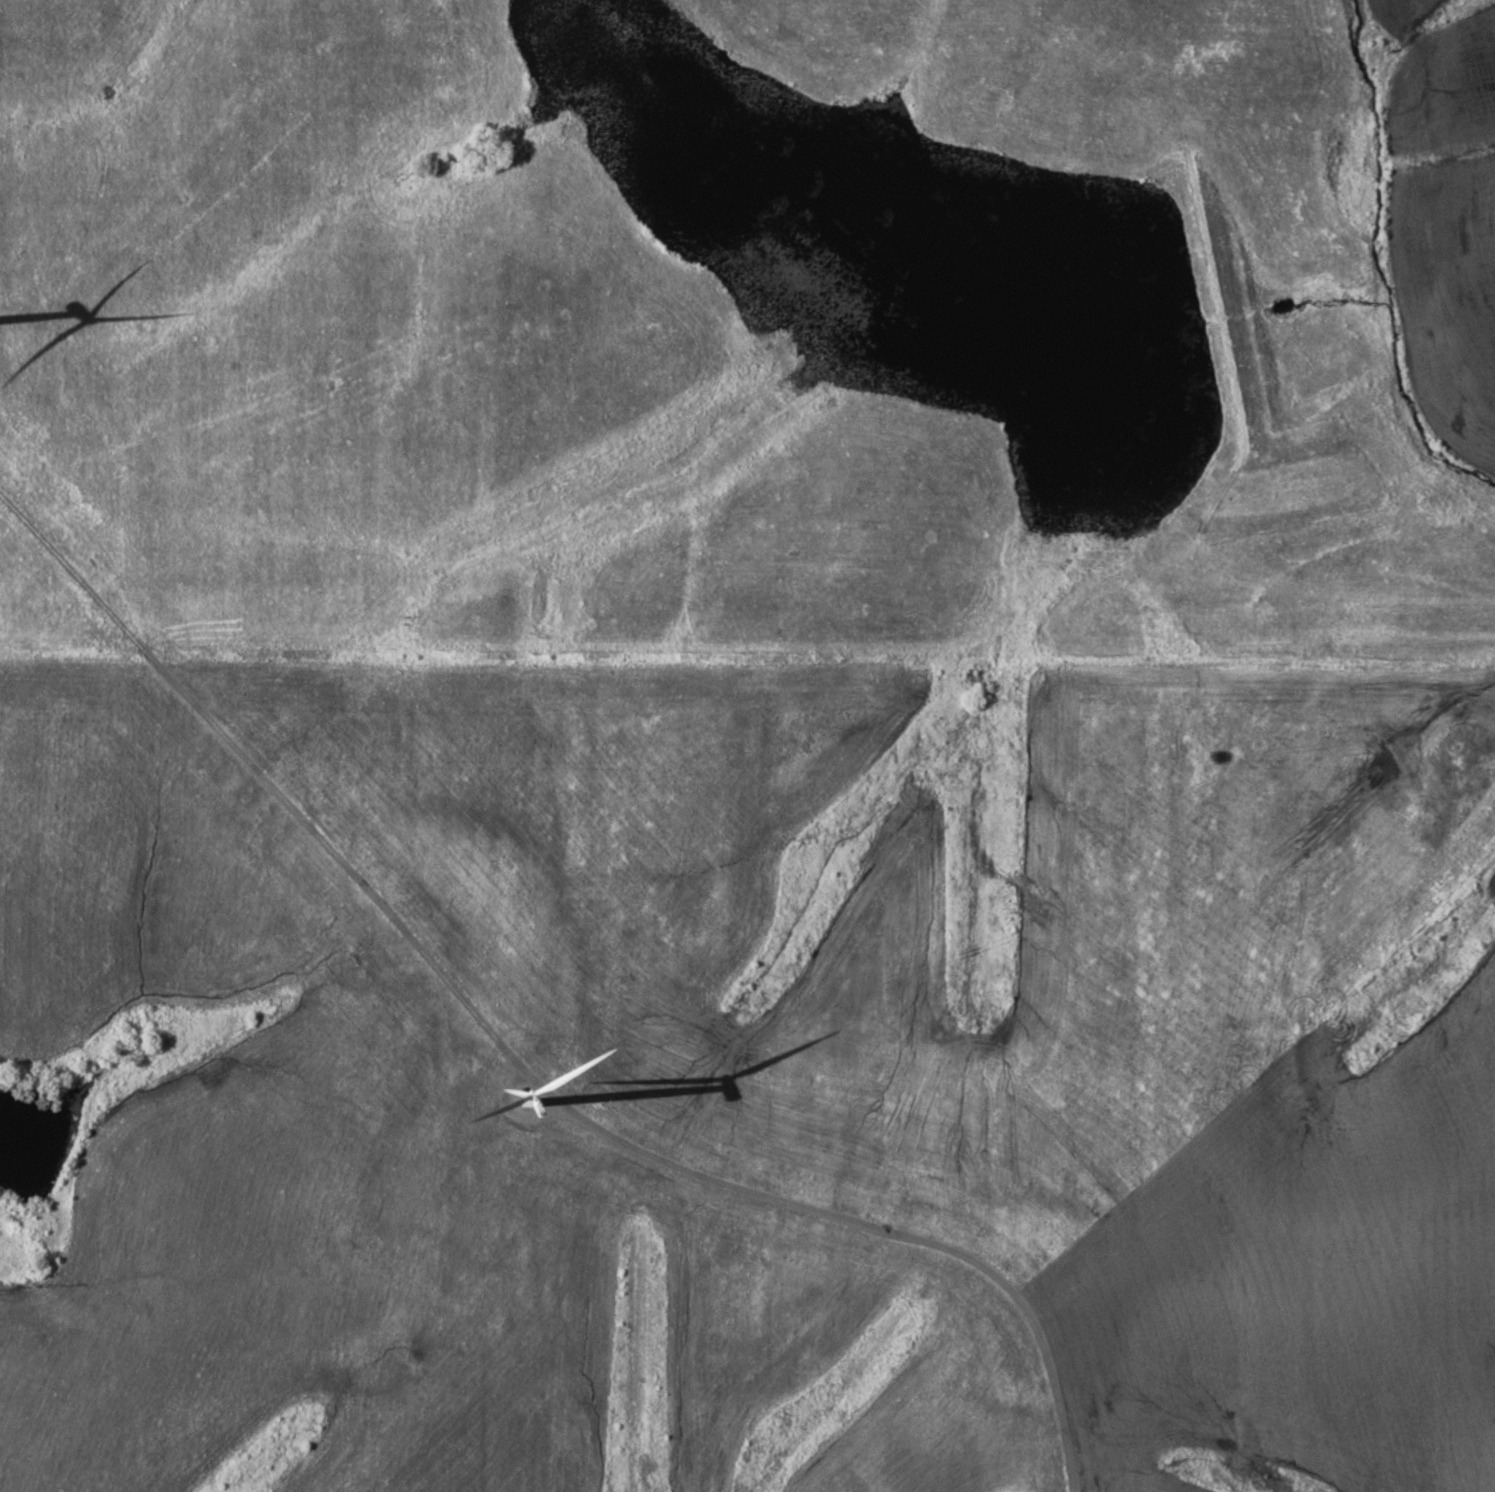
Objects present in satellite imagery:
road: (517, 1065)
wind turbine: (521, 1101)

